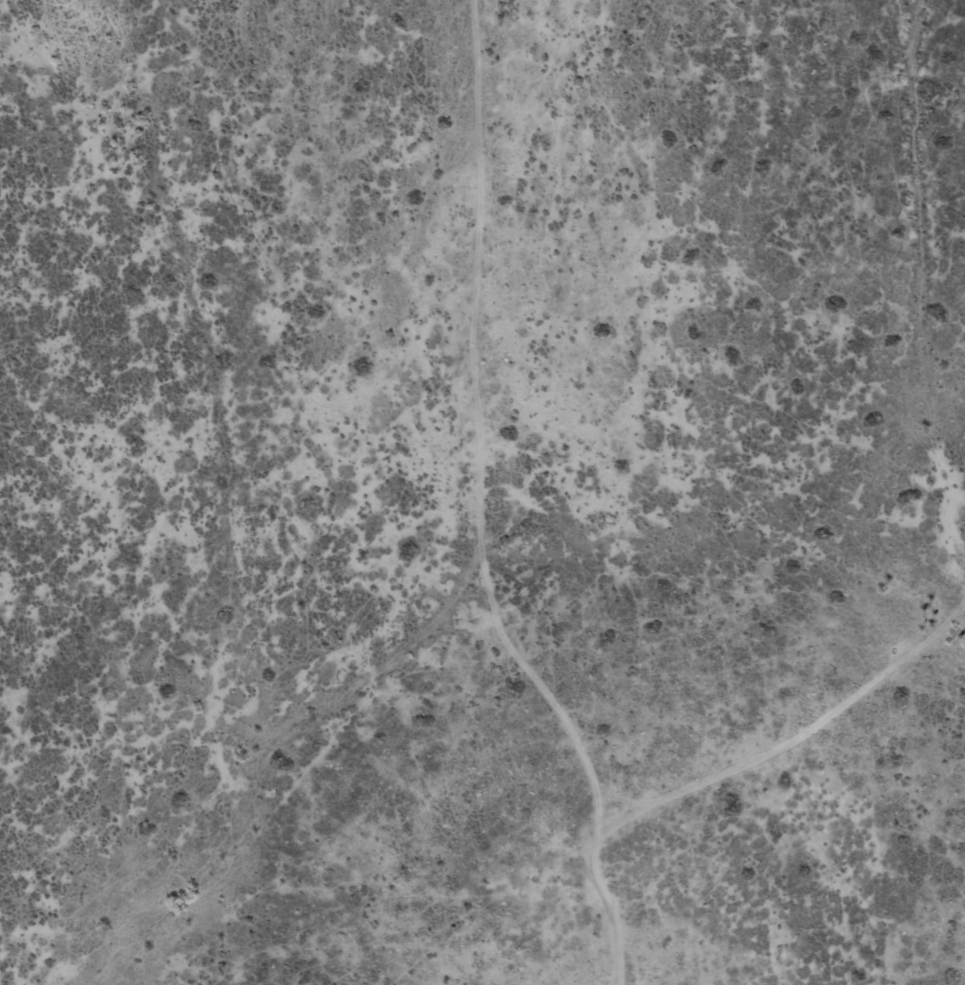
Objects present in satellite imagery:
road: (720, 757)

